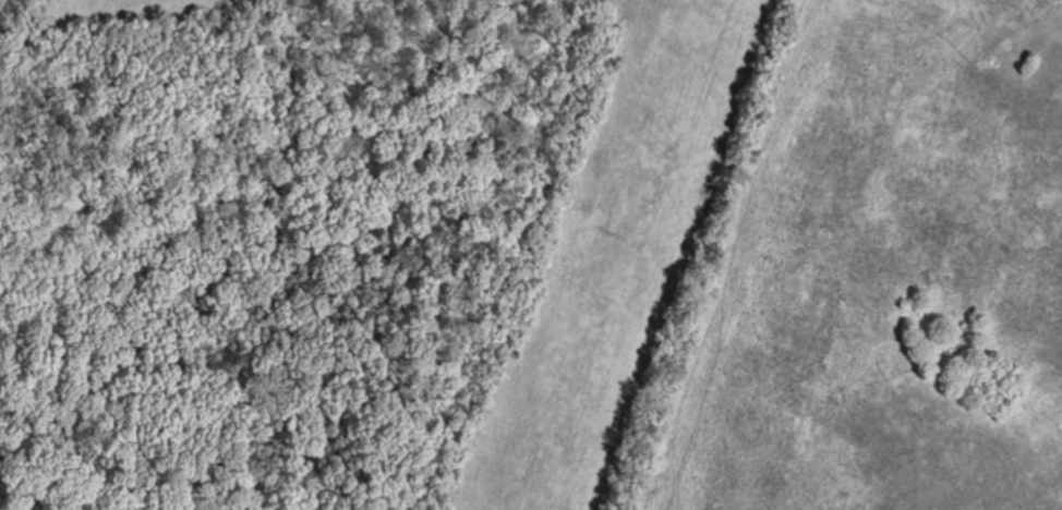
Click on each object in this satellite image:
road: (14, 500)

